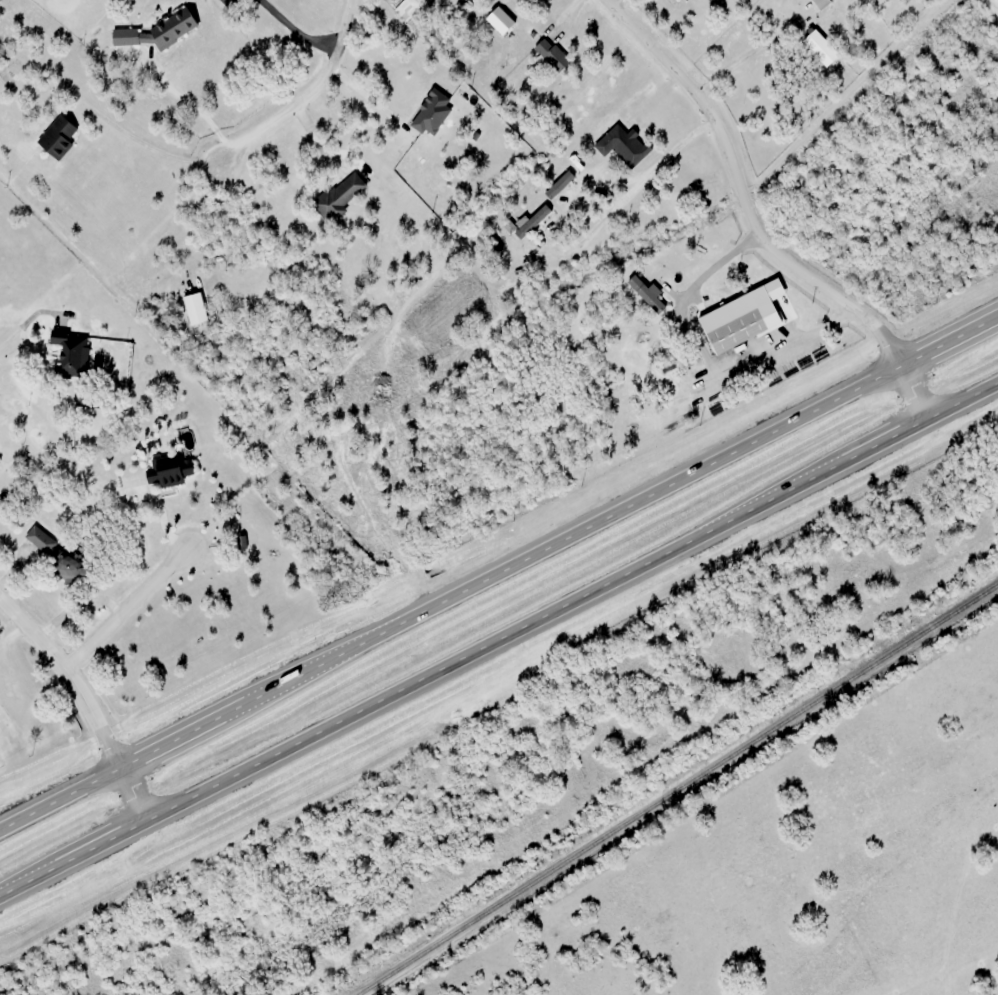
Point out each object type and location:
building: (693, 0)
building: (818, 3)
building: (994, 3)
building: (412, 11)
building: (816, 47)
building: (548, 54)
road: (309, 93)
building: (61, 137)
building: (625, 145)
building: (342, 196)
building: (534, 222)
road: (752, 223)
building: (649, 293)
building: (198, 309)
building: (742, 330)
road: (1, 345)
building: (73, 353)
building: (172, 471)
building: (42, 540)
building: (74, 570)
road: (499, 575)
road: (127, 606)
road: (498, 639)
road: (84, 699)
railway: (679, 791)

